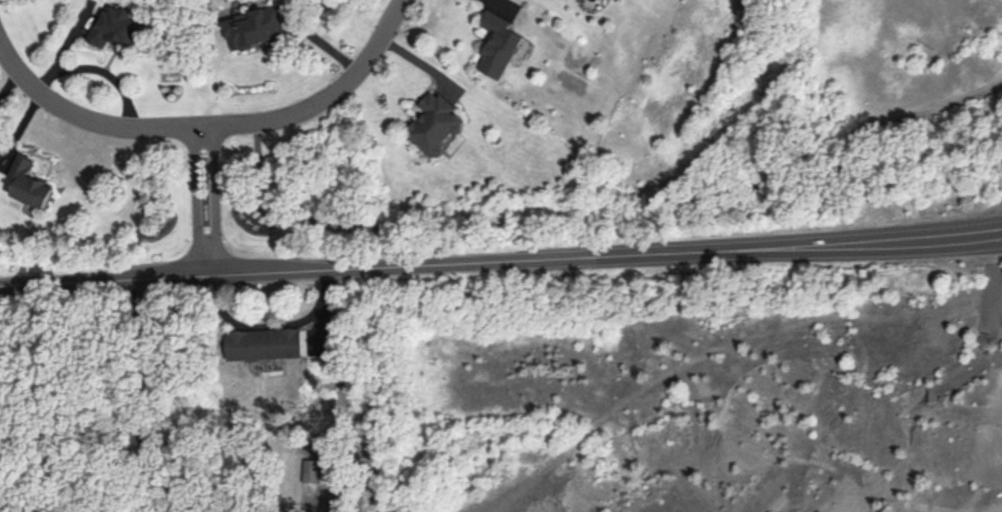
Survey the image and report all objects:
building: (117, 25)
building: (257, 26)
building: (498, 44)
road: (325, 100)
road: (87, 119)
building: (434, 122)
building: (30, 182)
road: (216, 198)
road: (193, 199)
road: (605, 254)
road: (155, 276)
road: (52, 283)
road: (267, 321)
building: (264, 342)
road: (129, 395)
building: (311, 469)

